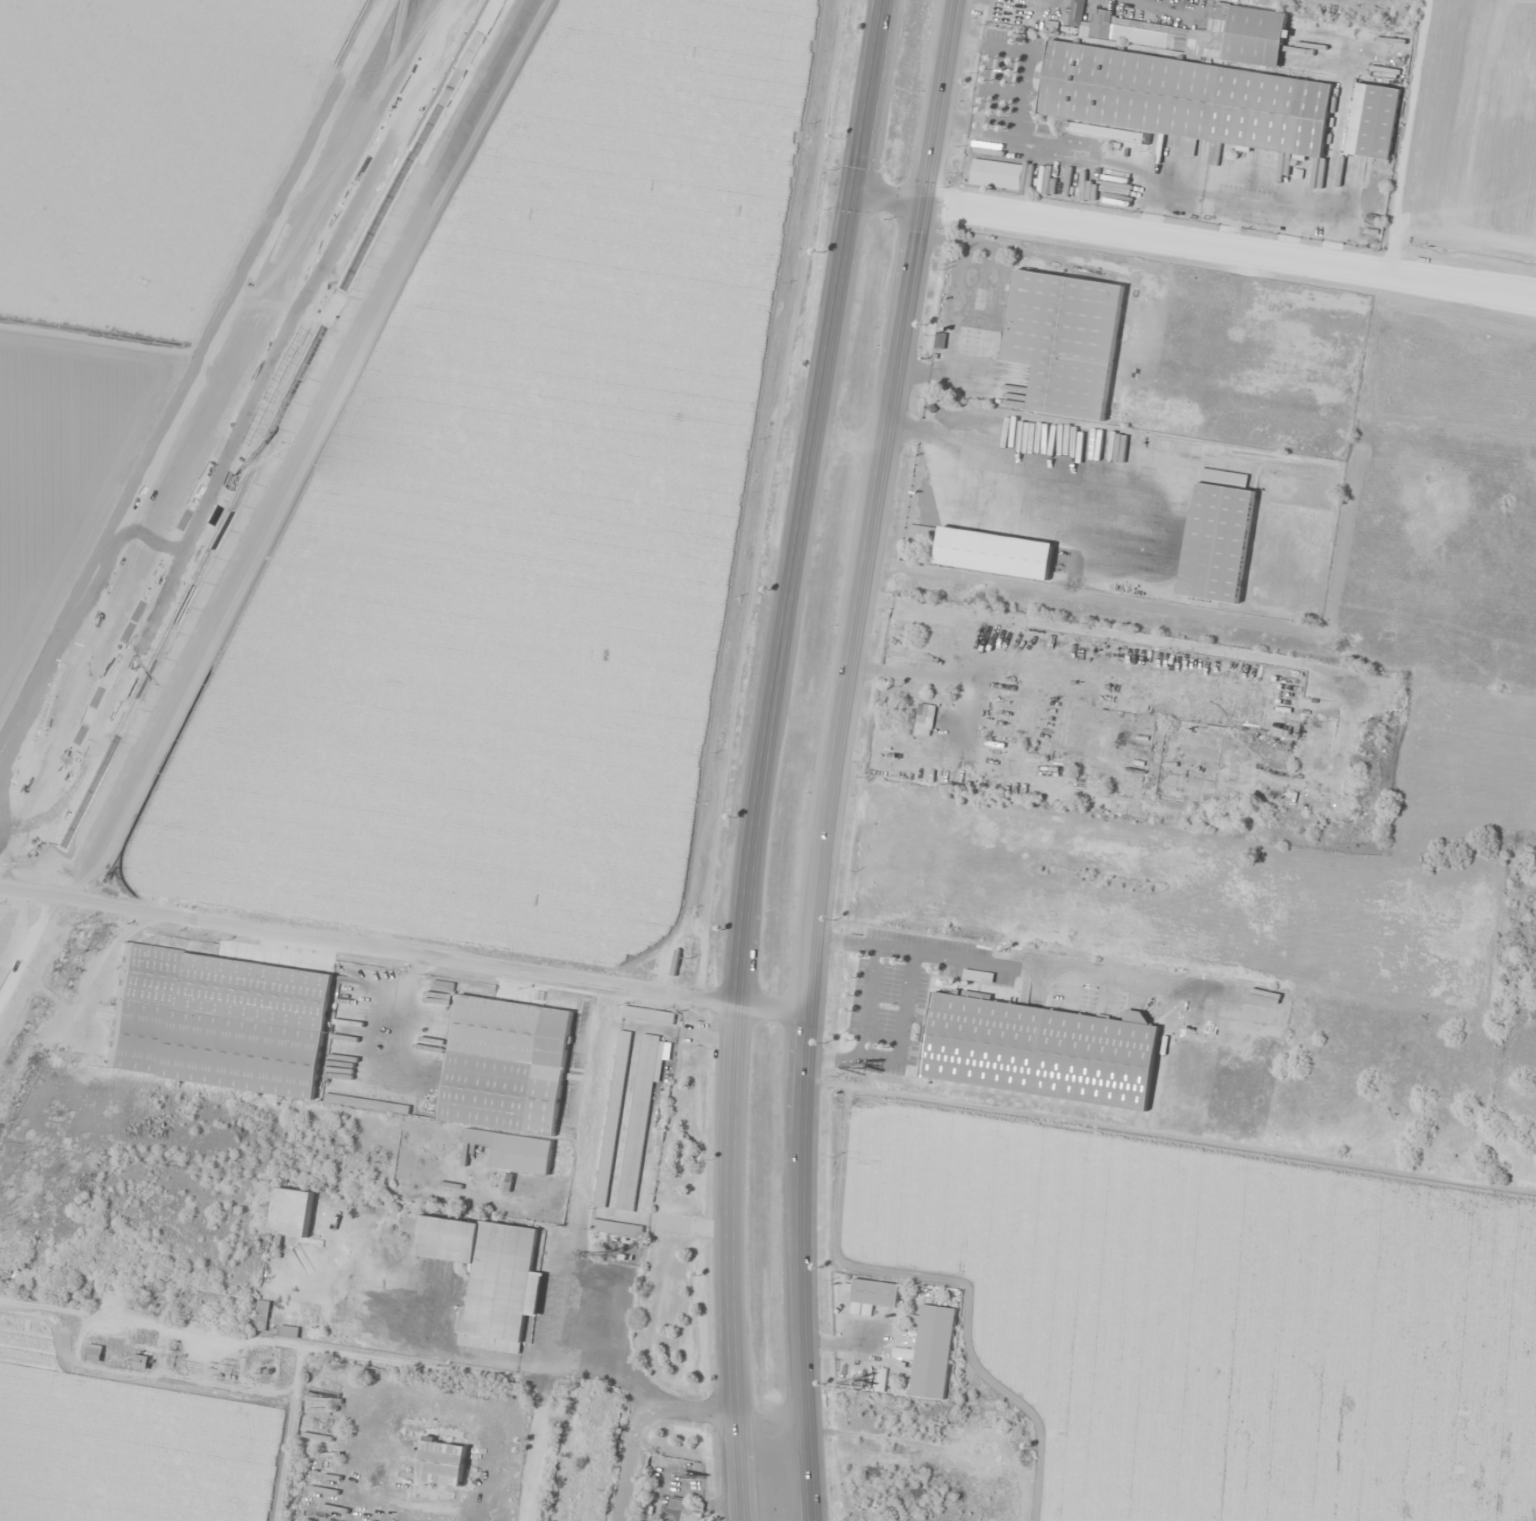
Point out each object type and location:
building: (1075, 12)
building: (1034, 21)
building: (1100, 28)
building: (1218, 37)
building: (1186, 98)
building: (1373, 120)
building: (996, 174)
traffic signals: (860, 193)
traffic signals: (918, 204)
road: (1197, 246)
building: (1064, 340)
road: (275, 449)
road: (812, 501)
road: (866, 518)
building: (1217, 536)
building: (987, 551)
building: (925, 716)
building: (1058, 750)
road: (25, 947)
road: (402, 953)
building: (443, 986)
building: (650, 1014)
building: (218, 1021)
building: (1039, 1050)
building: (506, 1064)
building: (368, 1104)
building: (613, 1118)
building: (639, 1122)
building: (512, 1150)
building: (292, 1213)
building: (616, 1228)
road: (740, 1263)
building: (488, 1274)
road: (795, 1280)
building: (875, 1297)
building: (263, 1316)
building: (288, 1332)
building: (932, 1350)
building: (94, 1353)
building: (141, 1362)
road: (643, 1419)
road: (773, 1426)
building: (443, 1463)
building: (680, 1510)

